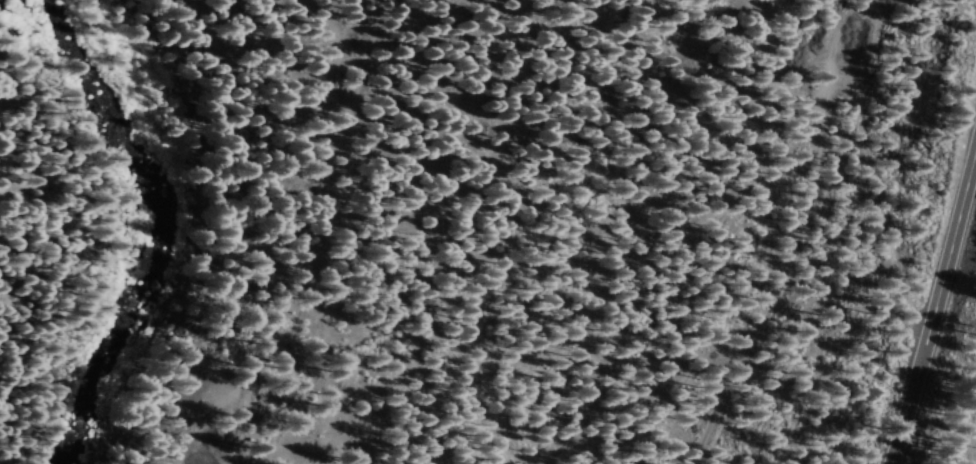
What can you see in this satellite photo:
road: (932, 295)

